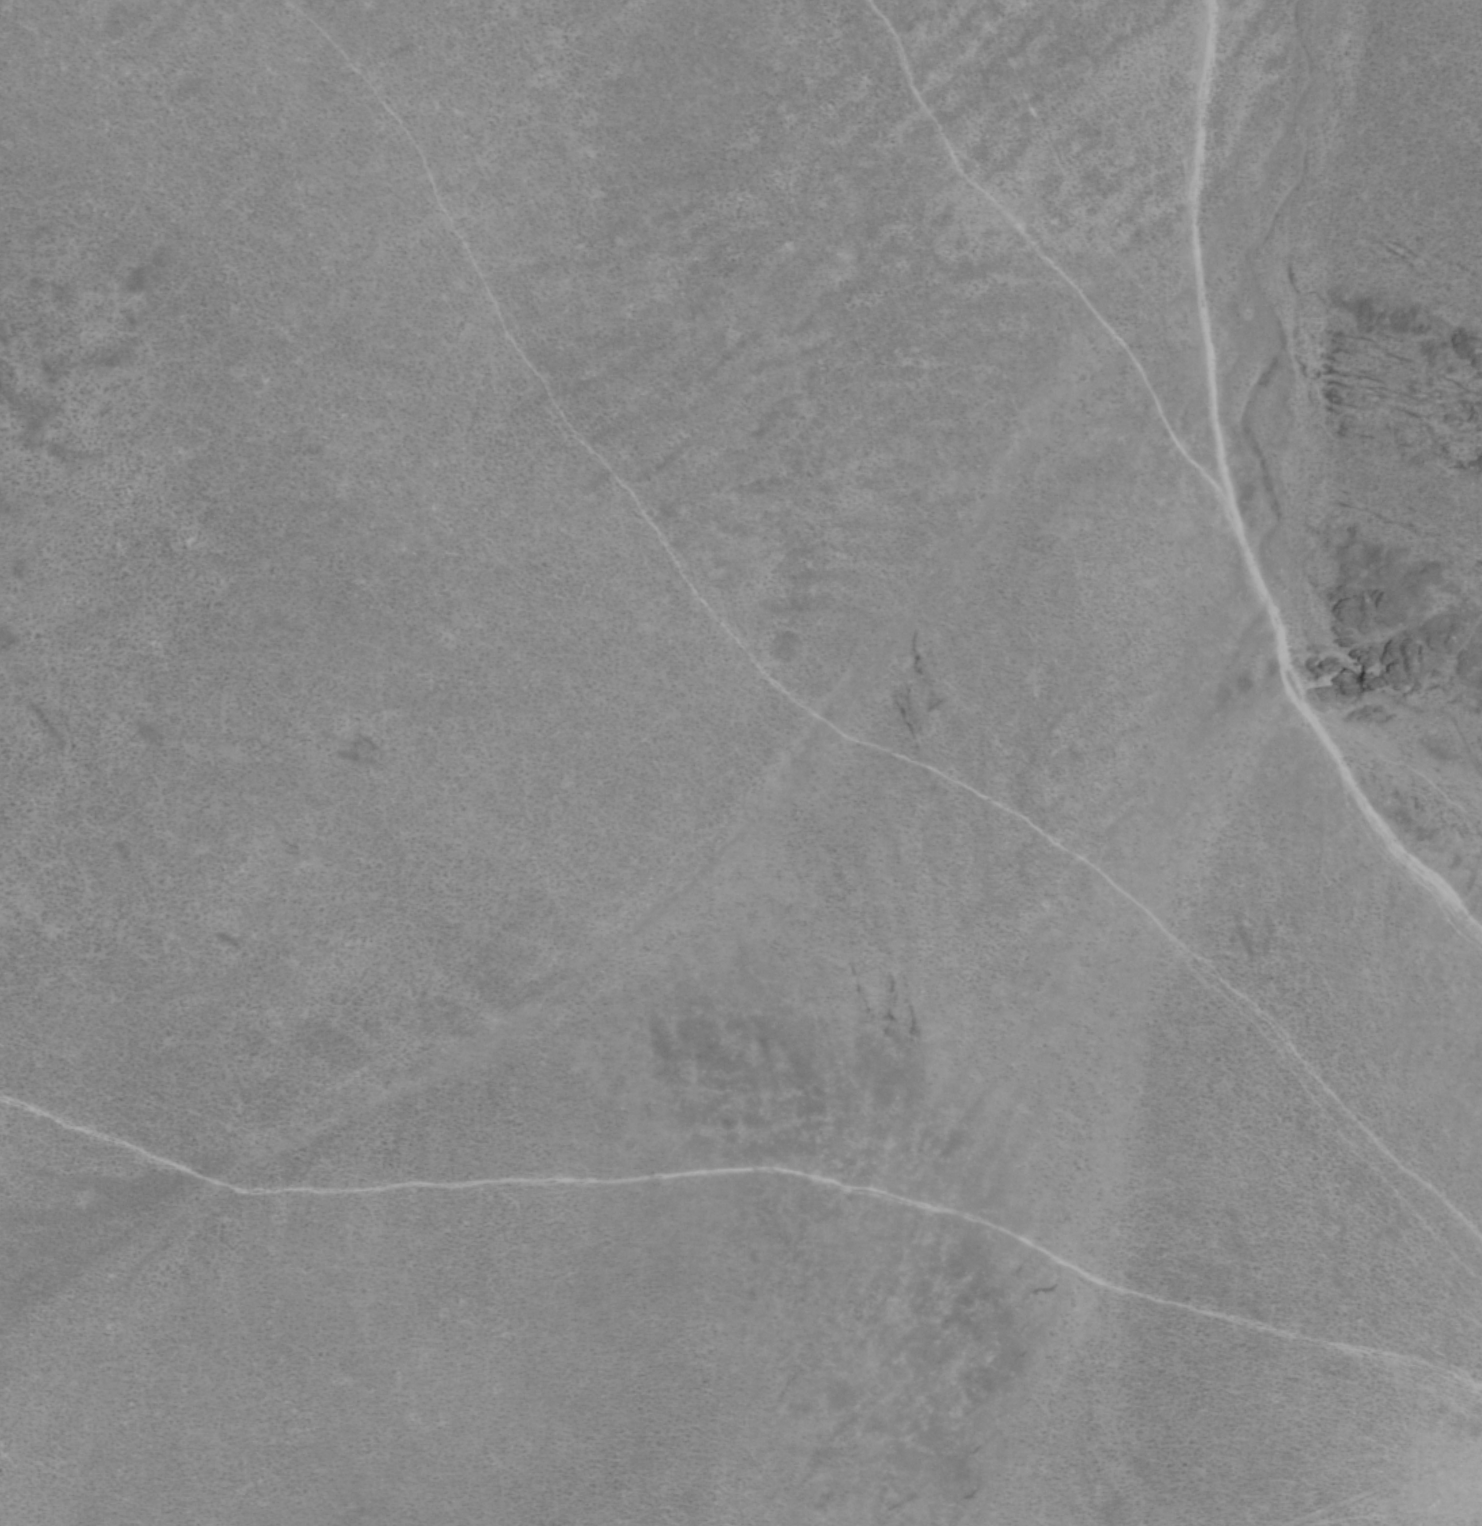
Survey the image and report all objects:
road: (1389, 1488)

